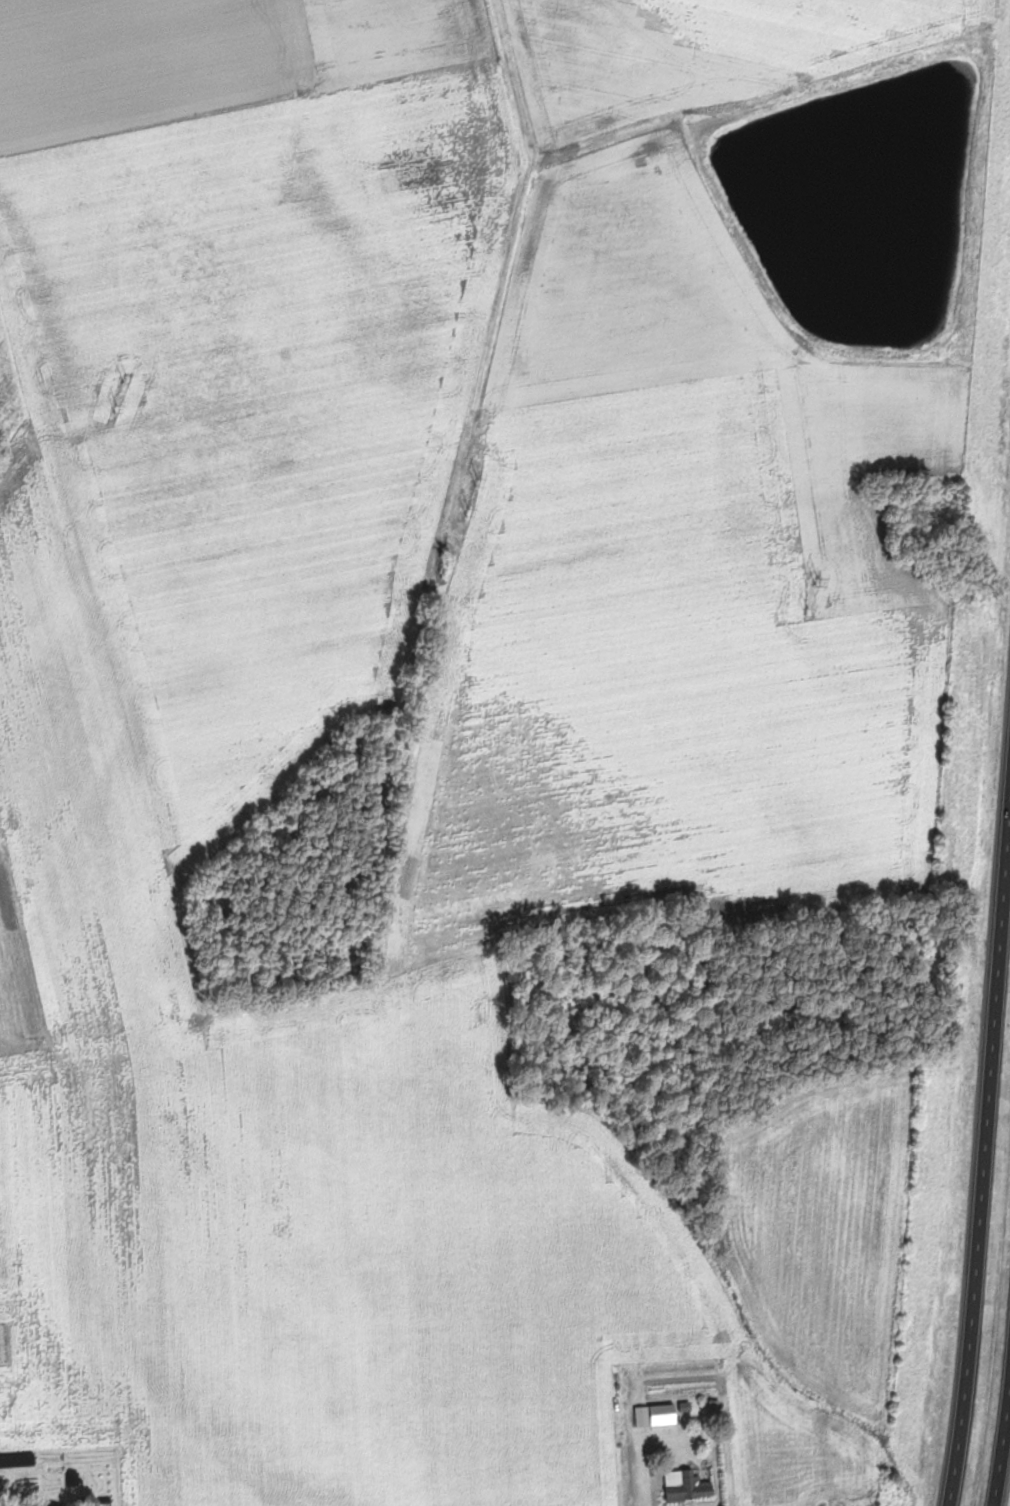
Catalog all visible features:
power tower: (126, 379)
power tower: (118, 408)
power tower: (478, 480)
power tower: (469, 511)
power tower: (818, 580)
power tower: (808, 609)
road: (984, 1165)
building: (662, 1415)
building: (690, 1486)
road: (1008, 1486)

